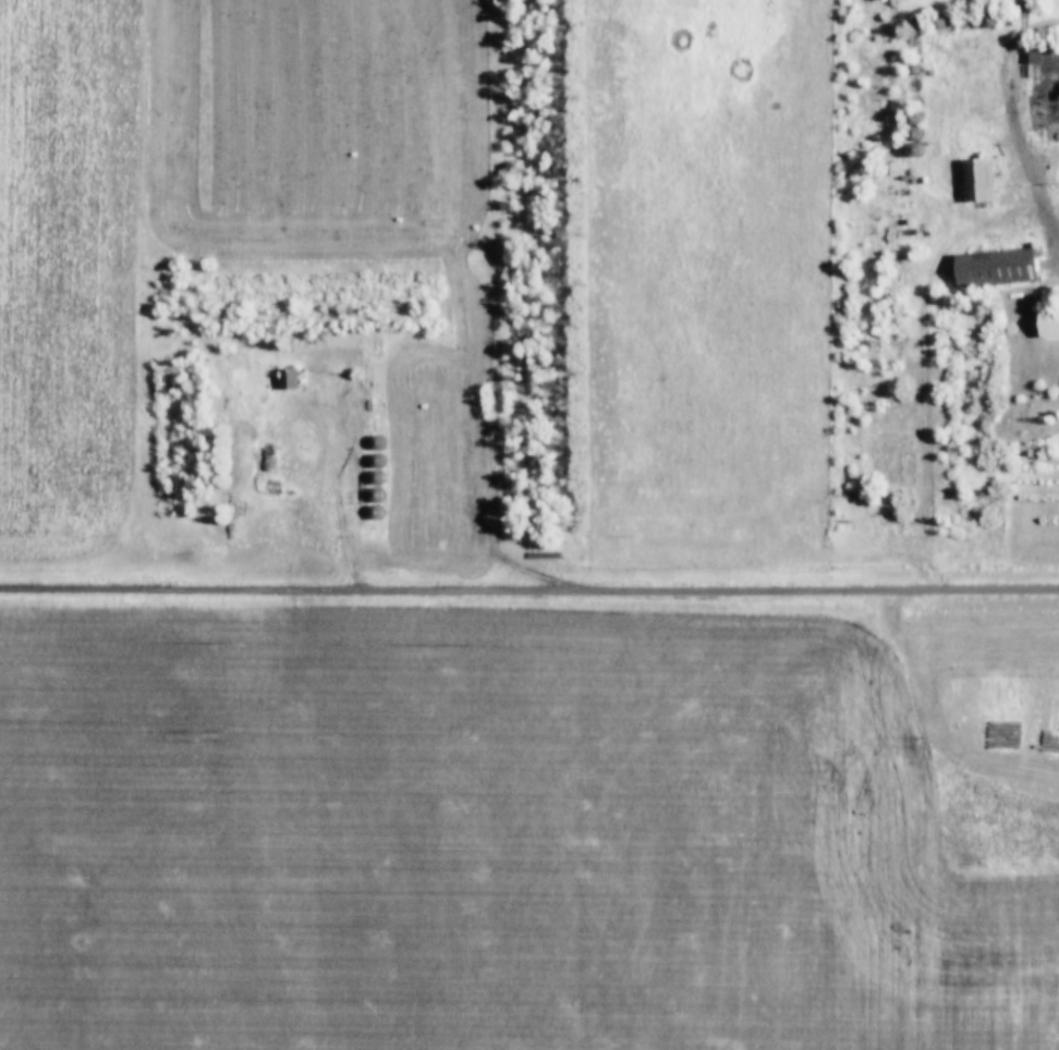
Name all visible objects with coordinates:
building: (982, 21)
silo: (982, 21)
building: (912, 22)
silo: (912, 22)
building: (930, 22)
silo: (930, 22)
road: (1008, 37)
building: (1039, 53)
building: (903, 70)
silo: (903, 70)
building: (906, 120)
silo: (906, 120)
building: (908, 135)
silo: (908, 135)
building: (908, 151)
silo: (908, 151)
road: (1014, 170)
building: (971, 182)
building: (989, 269)
building: (1046, 325)
building: (281, 379)
building: (369, 443)
silo: (369, 443)
building: (368, 462)
silo: (368, 462)
road: (467, 471)
building: (368, 478)
silo: (368, 478)
building: (368, 496)
silo: (368, 496)
building: (368, 514)
silo: (368, 514)
road: (529, 594)

